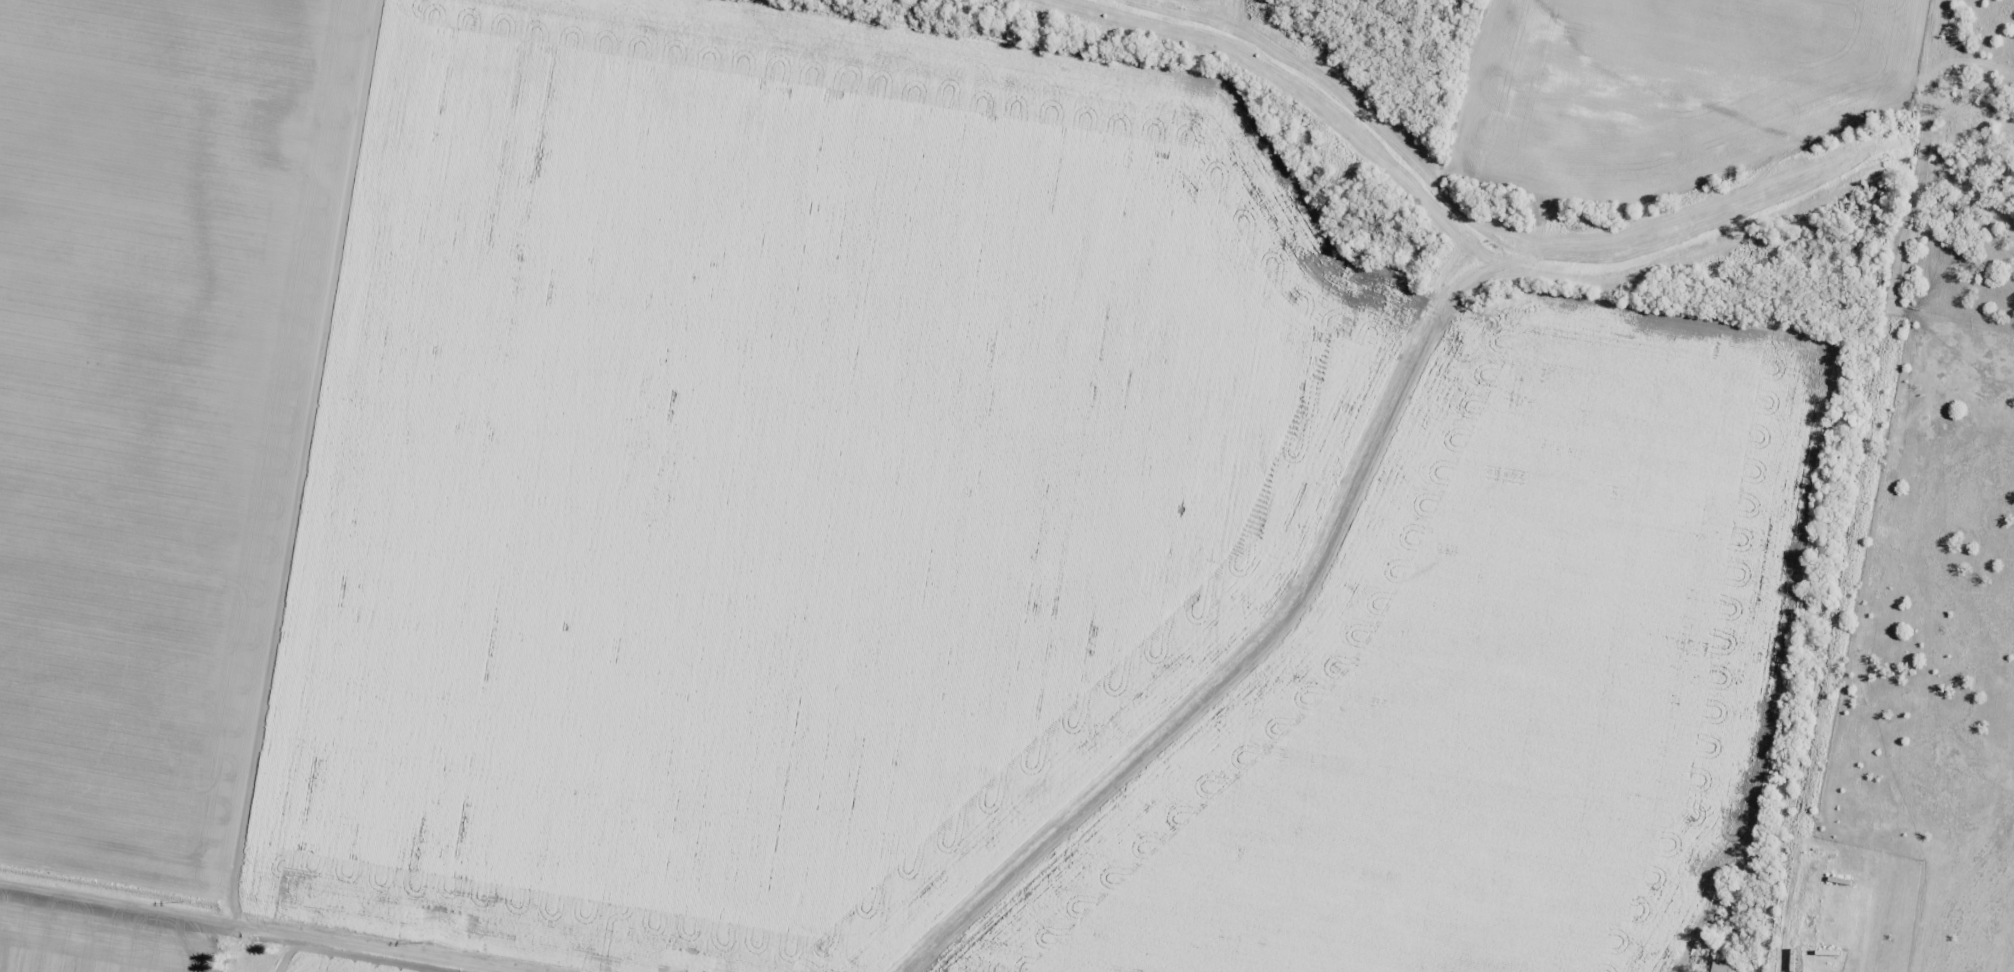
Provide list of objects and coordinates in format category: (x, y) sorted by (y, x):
road: (303, 457)
road: (274, 922)
building: (1718, 965)
building: (227, 971)

